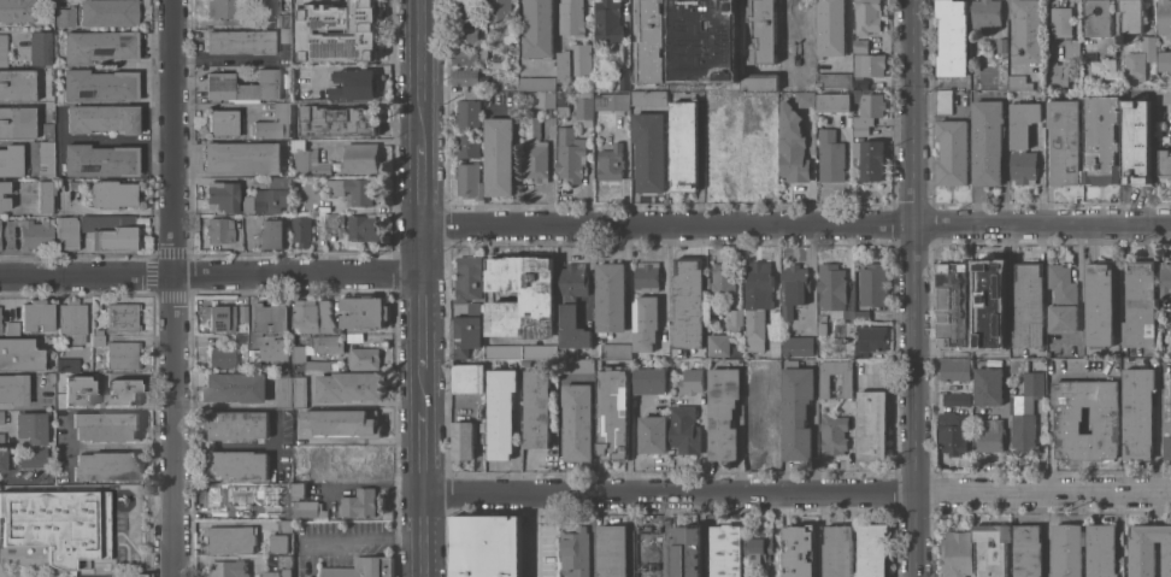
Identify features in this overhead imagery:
building: (465, 0)
building: (266, 6)
building: (223, 8)
building: (17, 10)
building: (499, 10)
building: (96, 12)
building: (465, 14)
building: (985, 14)
building: (867, 16)
building: (1131, 16)
building: (571, 18)
building: (682, 18)
building: (1096, 18)
building: (1164, 18)
building: (283, 20)
building: (607, 20)
building: (793, 25)
building: (1065, 25)
building: (831, 28)
building: (537, 29)
building: (763, 30)
building: (339, 31)
building: (1026, 31)
building: (286, 35)
building: (465, 35)
building: (720, 37)
building: (952, 37)
building: (1124, 37)
building: (239, 41)
building: (860, 45)
building: (99, 46)
building: (649, 46)
building: (1148, 46)
road: (1169, 46)
building: (39, 47)
building: (1001, 47)
building: (2, 49)
building: (512, 49)
road: (1010, 54)
building: (466, 55)
road: (223, 57)
building: (698, 58)
building: (1165, 60)
building: (573, 61)
building: (1134, 66)
building: (866, 67)
building: (1102, 67)
road: (422, 71)
building: (1055, 75)
building: (465, 76)
building: (678, 77)
building: (624, 78)
building: (834, 80)
building: (760, 81)
building: (1017, 82)
building: (537, 83)
building: (354, 84)
building: (17, 86)
building: (100, 86)
building: (242, 86)
building: (710, 87)
building: (1164, 96)
building: (504, 98)
building: (648, 98)
building: (805, 98)
building: (542, 99)
building: (611, 101)
building: (943, 101)
building: (834, 102)
road: (211, 104)
building: (563, 104)
building: (1128, 104)
building: (583, 105)
building: (728, 106)
building: (867, 106)
building: (469, 110)
building: (764, 113)
building: (101, 118)
building: (337, 120)
building: (16, 122)
building: (222, 122)
building: (273, 123)
building: (47, 130)
building: (861, 130)
road: (104, 139)
building: (1100, 140)
building: (751, 141)
building: (987, 141)
building: (1023, 141)
building: (1064, 141)
building: (683, 145)
building: (792, 145)
building: (469, 146)
building: (649, 151)
building: (535, 152)
building: (952, 152)
building: (570, 154)
building: (720, 155)
building: (830, 155)
building: (242, 157)
building: (499, 157)
building: (1140, 157)
building: (359, 158)
building: (100, 159)
building: (307, 159)
building: (11, 160)
building: (45, 160)
building: (871, 160)
building: (610, 163)
building: (758, 165)
building: (1164, 165)
road: (626, 166)
road: (211, 173)
building: (469, 179)
building: (73, 184)
road: (422, 184)
building: (353, 190)
building: (0, 194)
building: (112, 194)
building: (271, 195)
building: (43, 196)
building: (226, 196)
building: (330, 205)
building: (330, 219)
road: (795, 223)
building: (364, 228)
building: (218, 230)
building: (301, 230)
building: (94, 232)
building: (36, 234)
building: (273, 234)
road: (422, 248)
road: (589, 271)
road: (211, 275)
building: (646, 276)
building: (469, 278)
building: (1165, 281)
building: (722, 282)
building: (984, 282)
building: (872, 283)
road: (175, 288)
building: (793, 288)
building: (832, 288)
road: (914, 288)
building: (522, 296)
building: (610, 296)
building: (1061, 300)
building: (688, 302)
building: (952, 304)
building: (1028, 305)
building: (1099, 305)
building: (1140, 305)
building: (572, 306)
building: (758, 306)
building: (711, 307)
building: (364, 312)
building: (242, 313)
building: (36, 314)
building: (860, 314)
building: (0, 316)
building: (305, 316)
building: (122, 317)
building: (219, 317)
building: (326, 318)
building: (270, 319)
road: (422, 319)
building: (734, 319)
building: (72, 320)
building: (645, 323)
building: (0, 328)
building: (11, 328)
building: (820, 329)
building: (466, 330)
building: (98, 331)
building: (240, 337)
building: (98, 340)
building: (870, 340)
building: (1169, 343)
building: (718, 345)
building: (798, 346)
building: (990, 346)
building: (275, 349)
building: (612, 351)
building: (331, 352)
building: (520, 352)
building: (19, 354)
building: (122, 355)
building: (222, 357)
building: (364, 358)
building: (253, 360)
building: (525, 363)
building: (66, 365)
building: (576, 365)
building: (1013, 365)
building: (954, 370)
building: (49, 377)
building: (60, 377)
building: (467, 377)
building: (772, 377)
building: (649, 381)
building: (692, 381)
building: (1032, 384)
building: (349, 385)
building: (824, 385)
building: (988, 385)
building: (118, 387)
building: (235, 387)
building: (952, 388)
building: (13, 389)
building: (299, 390)
building: (284, 391)
building: (69, 395)
building: (955, 400)
road: (222, 404)
building: (537, 408)
building: (612, 411)
building: (796, 411)
building: (501, 413)
building: (722, 413)
building: (1104, 413)
building: (1137, 413)
building: (1, 417)
building: (1167, 417)
building: (343, 422)
building: (577, 422)
building: (236, 424)
building: (106, 425)
building: (872, 425)
building: (31, 426)
building: (482, 426)
building: (758, 426)
building: (684, 430)
road: (422, 431)
building: (834, 432)
building: (952, 432)
building: (1023, 432)
building: (653, 434)
building: (989, 435)
building: (1, 440)
road: (358, 440)
building: (461, 440)
road: (69, 446)
road: (123, 447)
road: (226, 447)
building: (33, 458)
building: (352, 458)
building: (2, 460)
building: (236, 464)
building: (106, 465)
building: (301, 471)
road: (376, 484)
building: (299, 490)
road: (795, 490)
building: (272, 496)
building: (222, 497)
building: (359, 502)
building: (308, 510)
building: (284, 516)
building: (59, 525)
building: (284, 525)
road: (420, 535)
building: (230, 538)
road: (366, 538)
building: (278, 542)
building: (487, 546)
building: (757, 547)
building: (991, 548)
building: (1148, 549)
building: (611, 550)
building: (687, 550)
building: (725, 550)
building: (837, 550)
building: (872, 550)
building: (1026, 550)
building: (1067, 550)
building: (1101, 550)
building: (575, 552)
building: (798, 554)
building: (957, 554)
building: (648, 555)
building: (334, 557)
building: (277, 566)
building: (225, 569)

